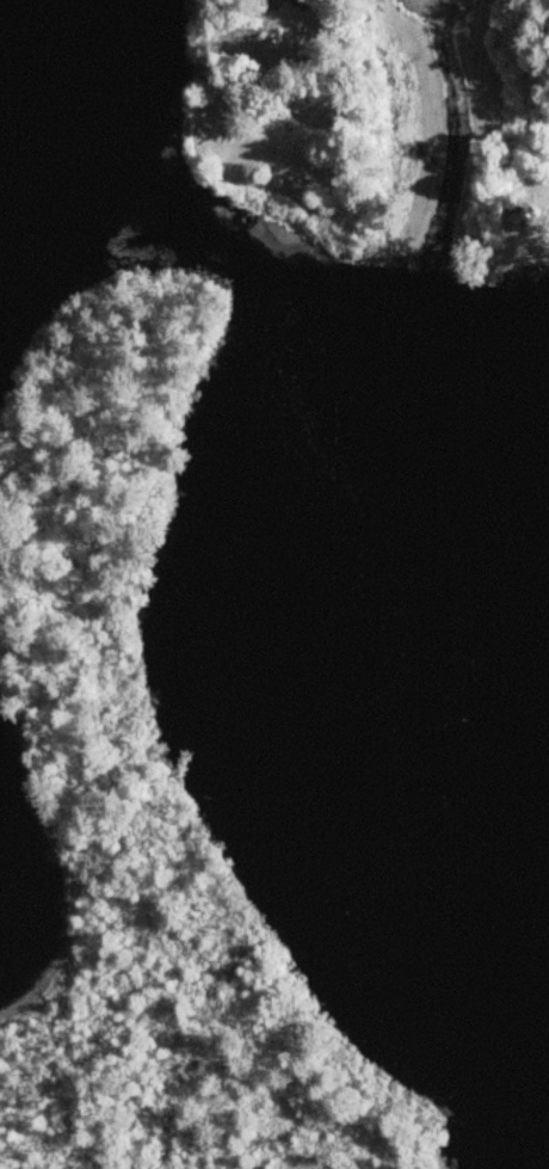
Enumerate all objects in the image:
building: (303, 2)
road: (314, 55)

